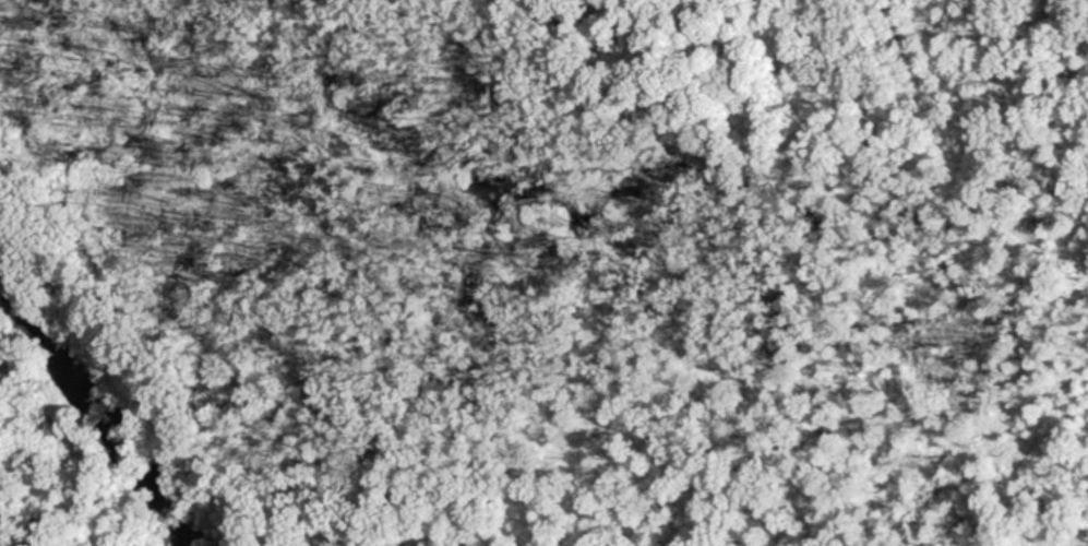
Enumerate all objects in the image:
river: (99, 407)

